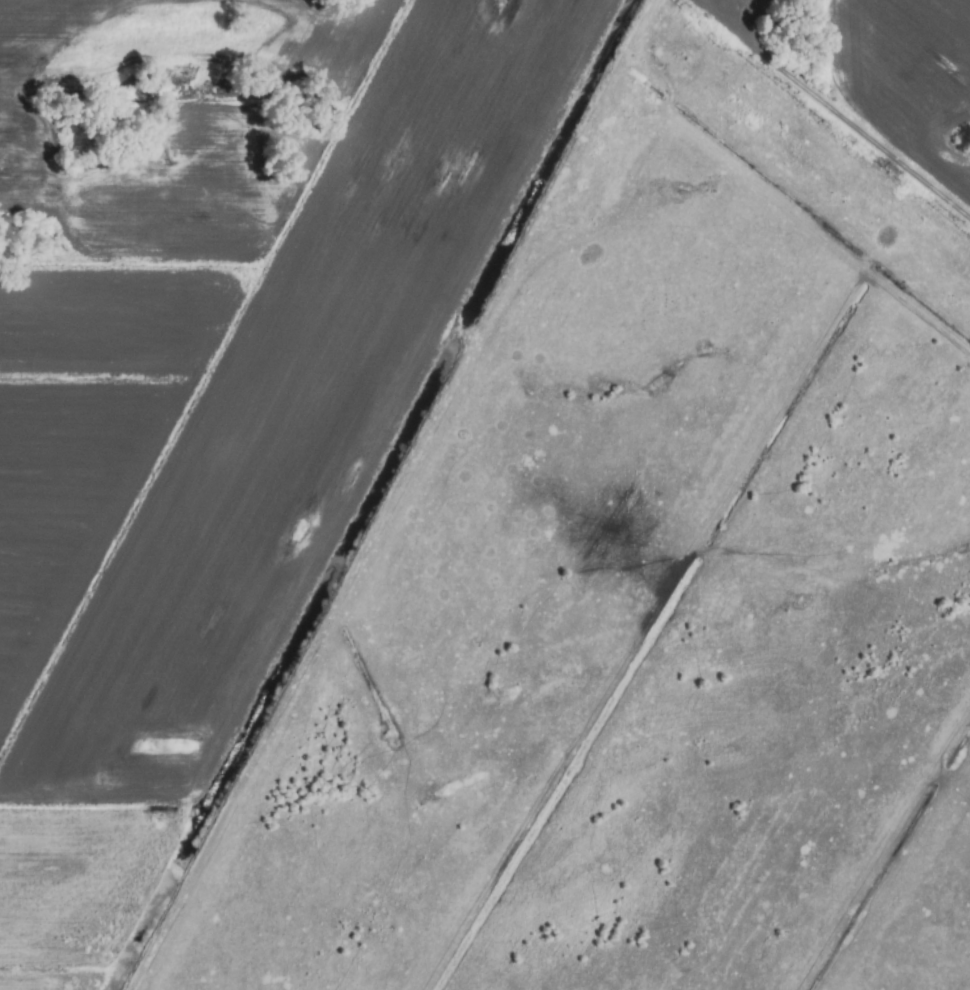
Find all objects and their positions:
road: (832, 110)
crop: (485, 495)

